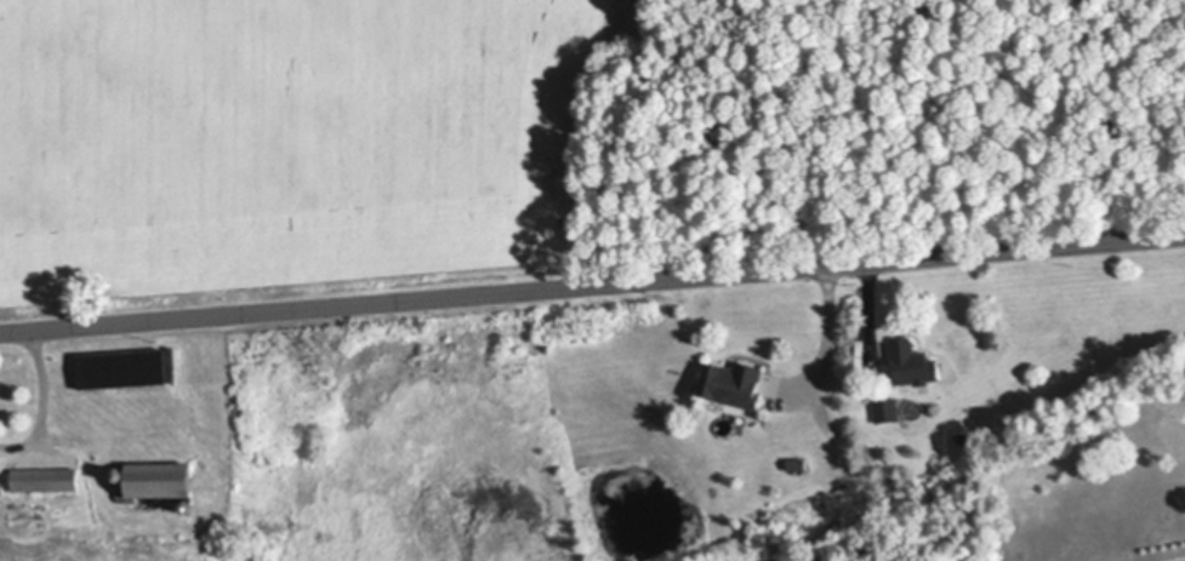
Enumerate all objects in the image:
road: (592, 282)
building: (913, 360)
building: (178, 363)
building: (125, 368)
road: (42, 379)
building: (731, 382)
building: (888, 408)
building: (798, 462)
building: (121, 474)
building: (160, 476)
building: (46, 477)
building: (1, 487)
building: (190, 505)

